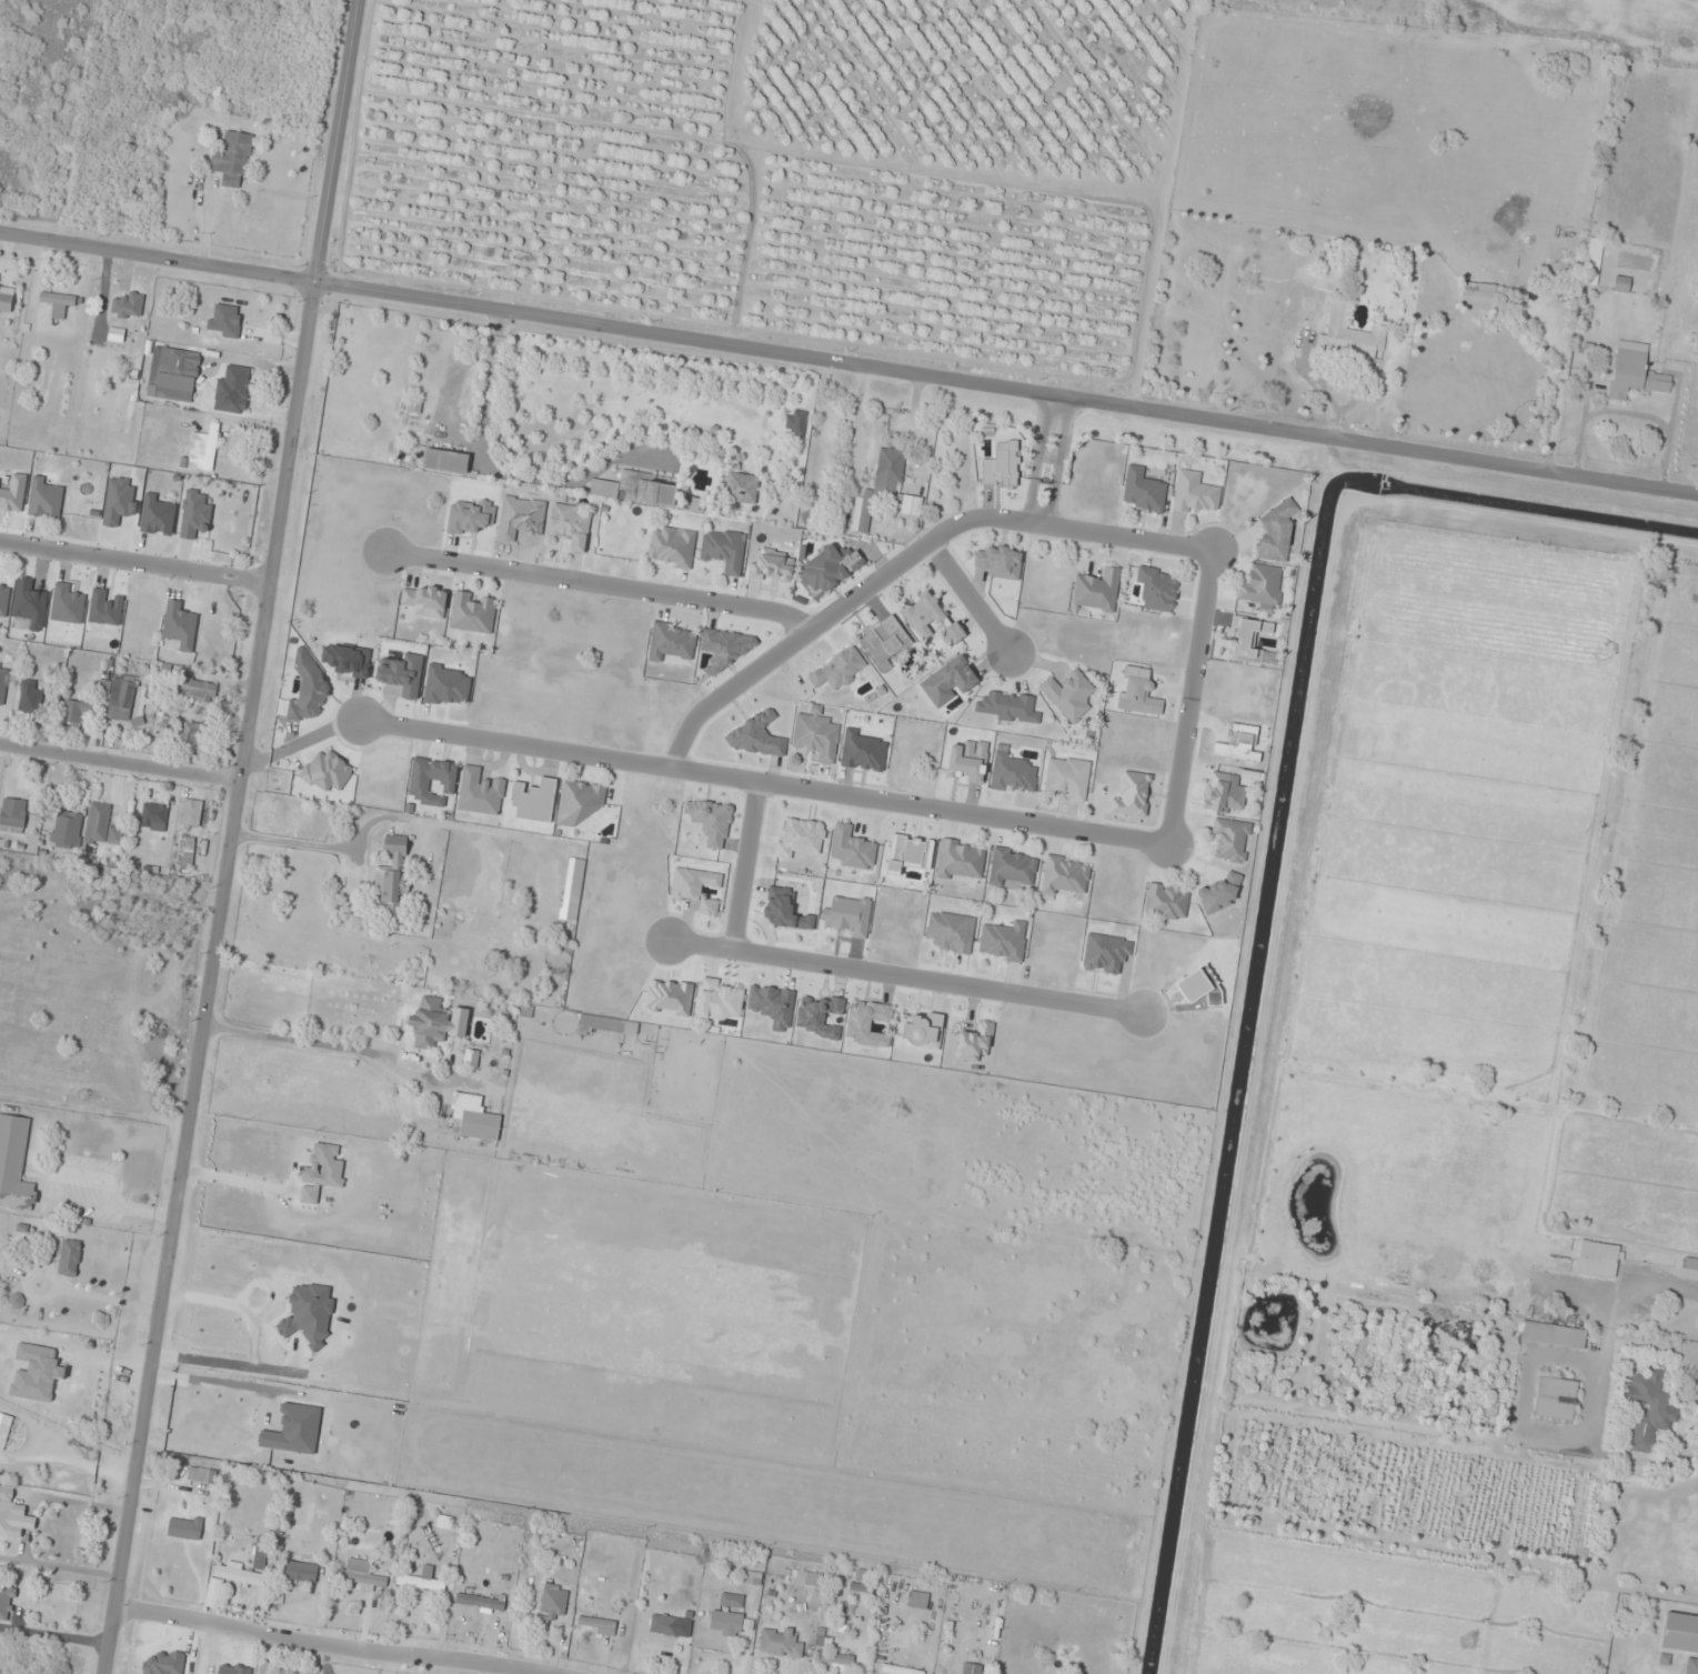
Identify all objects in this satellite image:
building: (232, 160)
building: (1594, 261)
building: (1621, 283)
building: (1484, 295)
building: (7, 300)
building: (59, 303)
building: (237, 325)
building: (1349, 334)
road: (848, 365)
building: (1635, 372)
building: (178, 374)
building: (233, 391)
building: (203, 450)
road: (1047, 461)
building: (445, 462)
building: (894, 482)
building: (742, 488)
building: (636, 490)
building: (1144, 490)
building: (1195, 493)
building: (46, 499)
building: (119, 501)
building: (194, 513)
building: (158, 514)
building: (571, 525)
building: (1276, 535)
building: (672, 547)
building: (724, 550)
road: (905, 559)
building: (1001, 562)
road: (134, 563)
building: (828, 569)
road: (599, 584)
building: (1158, 588)
building: (1263, 589)
building: (1097, 591)
road: (967, 598)
building: (4, 599)
building: (425, 602)
building: (473, 613)
building: (931, 618)
building: (180, 625)
building: (1249, 639)
building: (672, 643)
building: (3, 685)
building: (448, 686)
building: (197, 689)
building: (1068, 694)
building: (28, 698)
building: (121, 698)
road: (1190, 698)
building: (1007, 708)
building: (73, 715)
building: (195, 735)
building: (817, 735)
building: (1239, 745)
road: (293, 746)
road: (118, 763)
building: (328, 771)
building: (1013, 773)
building: (1067, 779)
building: (432, 781)
road: (762, 784)
building: (1225, 793)
building: (580, 802)
building: (191, 812)
building: (13, 815)
building: (154, 815)
building: (102, 826)
building: (68, 830)
road: (228, 836)
building: (800, 838)
building: (1232, 840)
building: (853, 849)
building: (188, 852)
building: (908, 854)
building: (961, 862)
road: (741, 866)
building: (1011, 868)
building: (1065, 876)
building: (392, 880)
building: (577, 880)
building: (696, 889)
building: (1166, 902)
building: (952, 932)
building: (1004, 942)
building: (1106, 953)
road: (905, 978)
building: (719, 1002)
building: (438, 1023)
building: (612, 1026)
building: (922, 1031)
building: (475, 1119)
building: (14, 1164)
building: (324, 1167)
building: (69, 1259)
building: (1598, 1260)
building: (1690, 1265)
building: (1553, 1337)
building: (1556, 1400)
building: (1649, 1411)
building: (294, 1431)
building: (14, 1520)
building: (301, 1573)
building: (362, 1575)
building: (238, 1576)
building: (807, 1578)
building: (420, 1583)
building: (214, 1593)
building: (732, 1601)
building: (917, 1601)
building: (480, 1602)
building: (553, 1602)
building: (6, 1603)
building: (726, 1623)
building: (596, 1625)
building: (664, 1625)
building: (1680, 1633)
building: (780, 1643)
road: (323, 1646)
building: (837, 1662)
building: (1691, 1666)
building: (971, 1668)
building: (898, 1670)

